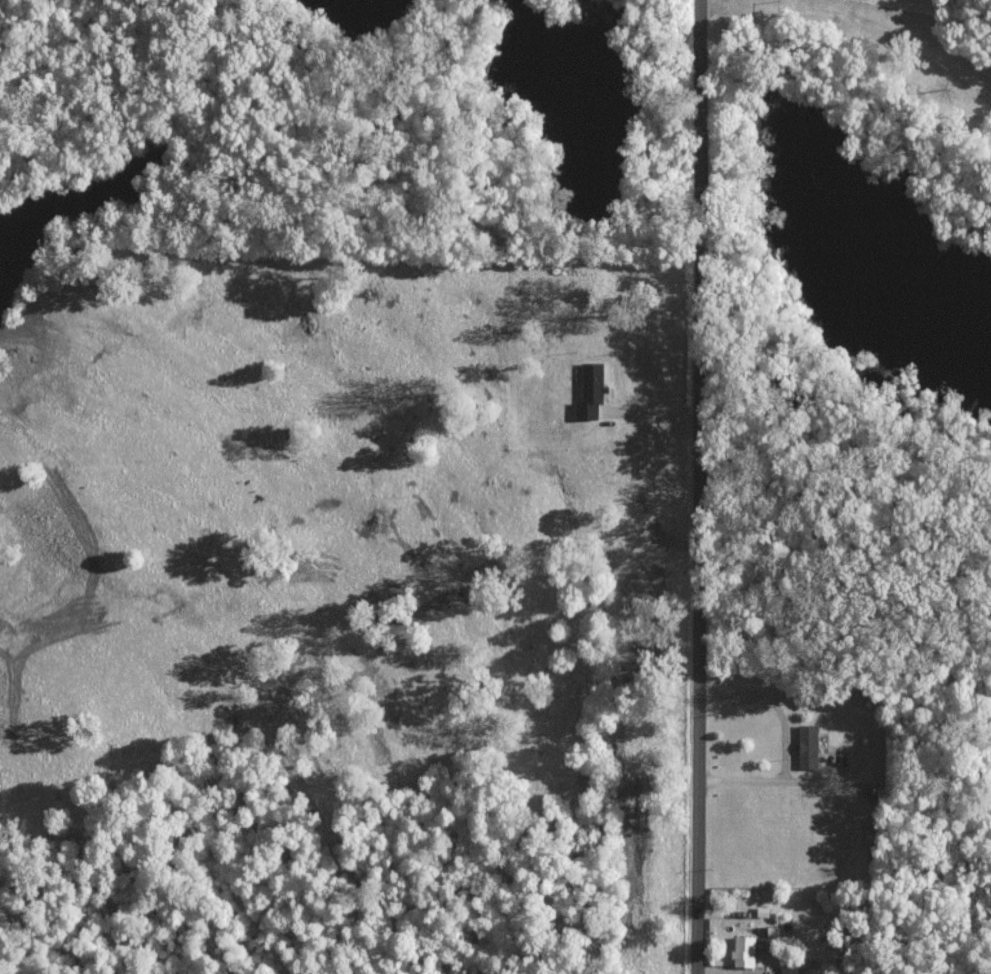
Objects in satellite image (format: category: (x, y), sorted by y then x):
road: (859, 19)
building: (593, 392)
road: (655, 420)
road: (704, 487)
road: (786, 745)
building: (805, 746)
building: (741, 950)

